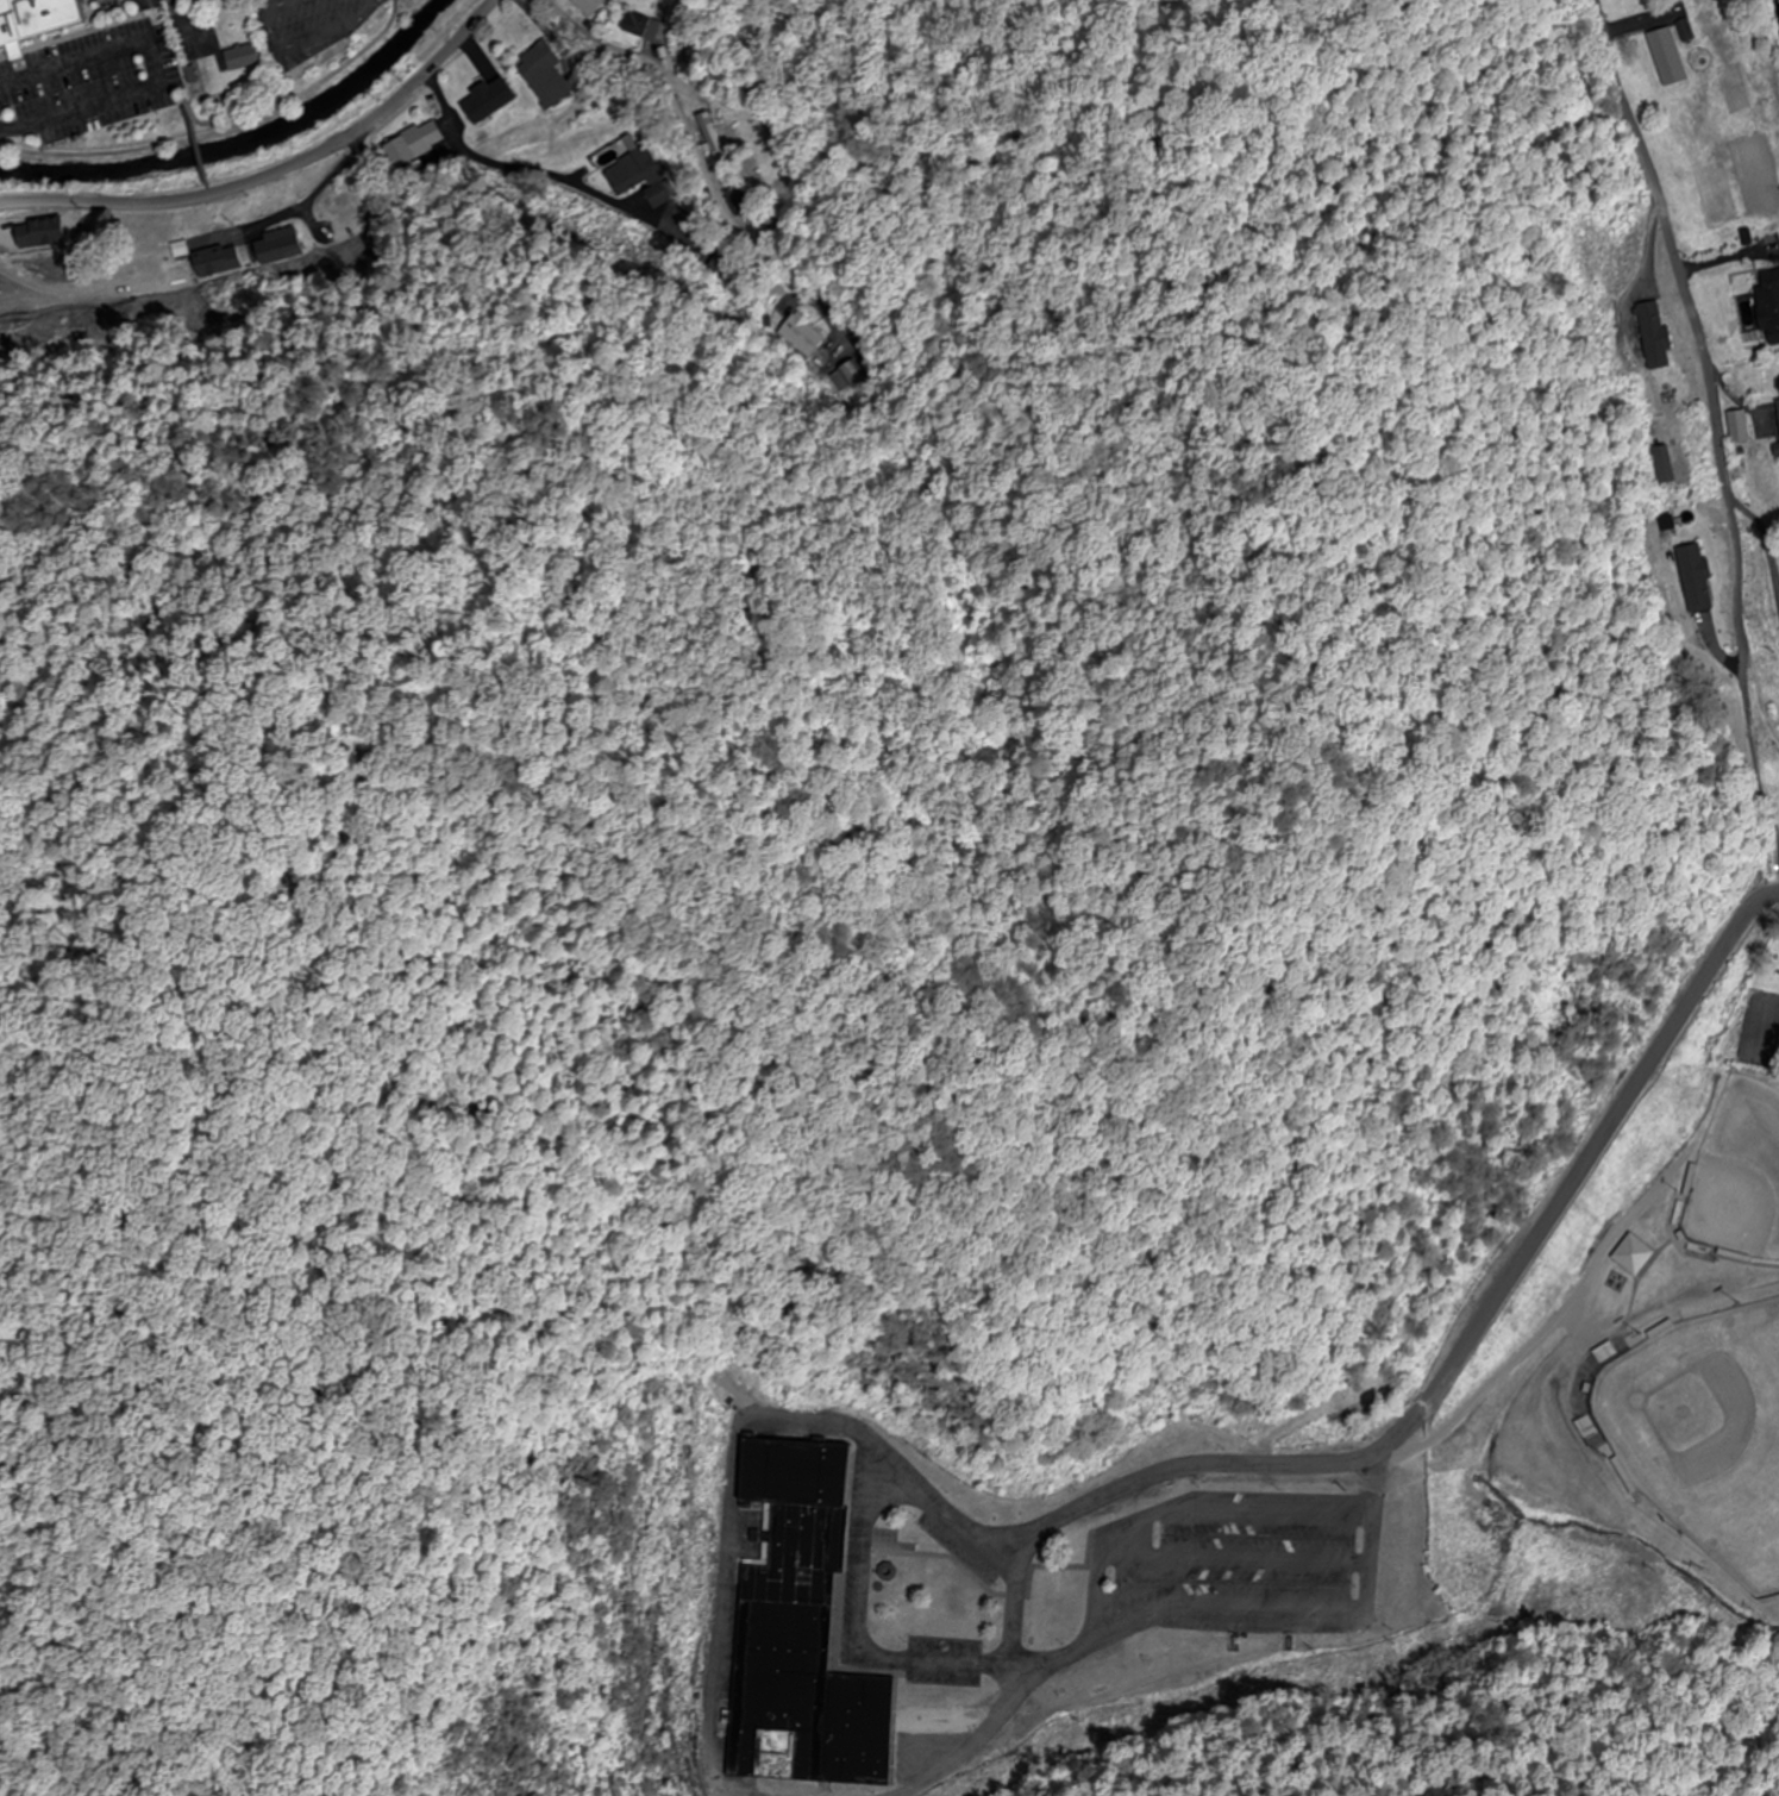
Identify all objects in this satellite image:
building: (149, 5)
building: (589, 6)
building: (40, 20)
road: (180, 23)
building: (645, 27)
road: (610, 39)
building: (249, 57)
building: (1668, 57)
building: (545, 75)
building: (491, 100)
road: (219, 121)
road: (223, 131)
building: (710, 138)
road: (198, 144)
building: (415, 144)
building: (632, 173)
road: (278, 176)
road: (211, 189)
building: (654, 195)
building: (735, 202)
building: (353, 214)
building: (55, 231)
building: (286, 244)
building: (227, 261)
building: (721, 268)
building: (1769, 305)
road: (1697, 334)
building: (803, 336)
building: (1655, 336)
building: (839, 376)
building: (1778, 406)
building: (1739, 428)
building: (1775, 452)
building: (1661, 465)
building: (1696, 580)
park: (1740, 1185)
road: (1432, 1395)
road: (1491, 1395)
park: (1621, 1425)
park: (1708, 1441)
road: (732, 1458)
road: (1189, 1469)
road: (1188, 1513)
road: (1241, 1553)
road: (865, 1616)
building: (803, 1632)
road: (998, 1701)

